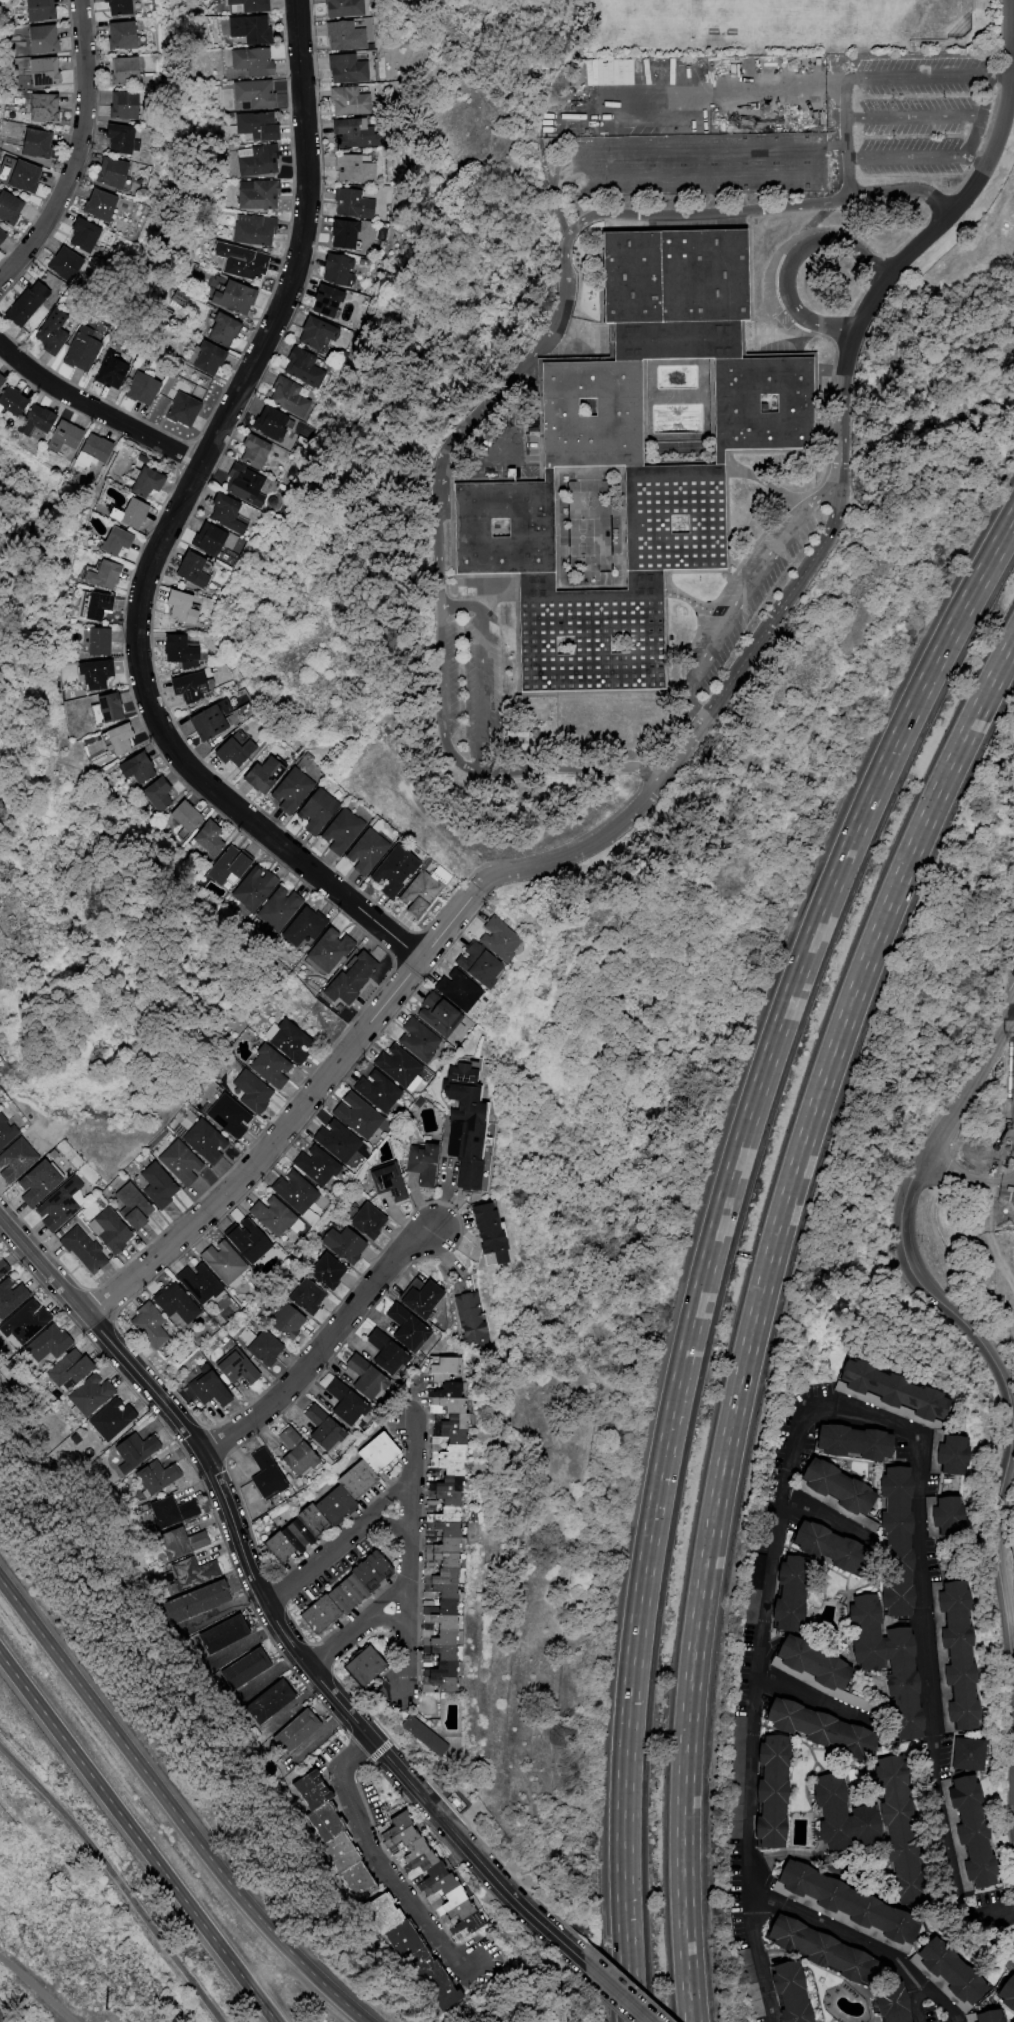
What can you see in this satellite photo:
building: (249, 6)
building: (128, 7)
building: (343, 8)
building: (45, 9)
road: (1013, 15)
building: (251, 29)
building: (345, 35)
building: (132, 36)
building: (49, 39)
building: (254, 62)
building: (347, 68)
building: (624, 70)
building: (49, 72)
building: (136, 72)
road: (760, 86)
building: (248, 96)
building: (350, 99)
building: (135, 106)
road: (842, 106)
building: (51, 108)
road: (911, 111)
road: (978, 114)
building: (256, 128)
building: (352, 133)
building: (131, 139)
building: (44, 144)
road: (79, 153)
building: (258, 160)
building: (352, 168)
building: (124, 175)
road: (847, 176)
building: (32, 178)
road: (871, 193)
building: (259, 195)
building: (355, 203)
building: (118, 207)
building: (14, 208)
building: (255, 229)
building: (356, 235)
road: (813, 235)
building: (5, 237)
building: (94, 237)
road: (563, 243)
building: (243, 261)
building: (73, 269)
building: (335, 269)
building: (748, 279)
building: (237, 297)
building: (325, 300)
building: (35, 306)
road: (823, 324)
building: (226, 330)
road: (778, 332)
building: (59, 333)
building: (315, 333)
road: (785, 335)
building: (88, 350)
building: (212, 359)
building: (300, 363)
building: (118, 372)
building: (3, 382)
building: (147, 389)
building: (293, 398)
building: (15, 400)
road: (98, 410)
building: (187, 410)
building: (43, 418)
building: (271, 424)
building: (70, 434)
building: (100, 448)
building: (632, 454)
building: (256, 456)
building: (144, 482)
building: (244, 485)
road: (439, 499)
road: (842, 501)
building: (128, 513)
building: (228, 513)
road: (171, 529)
building: (113, 540)
building: (211, 540)
building: (192, 571)
building: (101, 575)
road: (743, 592)
building: (92, 606)
building: (180, 607)
building: (96, 642)
building: (177, 650)
road: (479, 663)
building: (93, 674)
building: (186, 687)
building: (107, 708)
building: (207, 719)
building: (117, 739)
building: (232, 750)
building: (135, 768)
building: (259, 776)
building: (288, 791)
building: (158, 795)
building: (314, 811)
building: (184, 818)
building: (338, 832)
building: (208, 839)
building: (362, 852)
building: (224, 871)
building: (389, 871)
building: (251, 890)
building: (417, 892)
building: (278, 907)
building: (301, 928)
building: (494, 940)
building: (328, 949)
building: (475, 967)
building: (348, 980)
building: (452, 992)
building: (435, 1018)
building: (285, 1040)
building: (415, 1040)
building: (267, 1066)
building: (397, 1066)
building: (374, 1091)
building: (249, 1092)
road: (297, 1115)
building: (353, 1115)
building: (225, 1117)
building: (0, 1122)
building: (457, 1126)
building: (4, 1134)
building: (202, 1141)
building: (487, 1141)
building: (334, 1142)
building: (11, 1159)
building: (176, 1163)
building: (418, 1164)
building: (314, 1167)
road: (968, 1178)
building: (385, 1181)
building: (31, 1184)
building: (153, 1186)
building: (291, 1192)
building: (56, 1205)
building: (127, 1207)
park: (975, 1207)
road: (905, 1215)
building: (269, 1216)
building: (364, 1220)
building: (103, 1231)
building: (481, 1235)
road: (712, 1242)
building: (244, 1243)
building: (341, 1245)
building: (77, 1250)
building: (218, 1263)
building: (1, 1269)
building: (323, 1272)
building: (193, 1285)
building: (8, 1296)
building: (303, 1297)
building: (415, 1300)
building: (170, 1305)
road: (756, 1309)
building: (462, 1319)
building: (20, 1323)
building: (282, 1323)
building: (142, 1326)
building: (400, 1327)
building: (39, 1347)
road: (326, 1348)
building: (259, 1349)
building: (380, 1352)
building: (230, 1369)
building: (433, 1370)
building: (60, 1372)
building: (357, 1378)
building: (441, 1380)
building: (894, 1390)
building: (200, 1391)
building: (439, 1393)
building: (82, 1397)
building: (337, 1404)
building: (438, 1408)
building: (102, 1421)
building: (316, 1431)
building: (441, 1433)
building: (854, 1442)
building: (125, 1454)
building: (952, 1455)
building: (288, 1456)
building: (370, 1456)
building: (440, 1456)
building: (437, 1470)
building: (257, 1477)
building: (146, 1479)
building: (348, 1482)
building: (440, 1486)
building: (837, 1486)
building: (433, 1499)
building: (326, 1508)
building: (161, 1515)
building: (947, 1515)
road: (832, 1518)
building: (433, 1519)
building: (302, 1522)
road: (387, 1526)
park: (1009, 1530)
building: (436, 1532)
building: (290, 1535)
building: (897, 1539)
road: (338, 1544)
building: (171, 1545)
building: (272, 1547)
building: (829, 1547)
building: (435, 1549)
road: (998, 1550)
road: (406, 1555)
building: (435, 1563)
building: (363, 1572)
building: (183, 1576)
building: (433, 1581)
road: (771, 1585)
building: (791, 1593)
building: (433, 1595)
building: (338, 1597)
building: (191, 1602)
road: (267, 1604)
road: (224, 1609)
building: (432, 1609)
building: (312, 1617)
road: (390, 1620)
road: (361, 1627)
building: (429, 1630)
building: (867, 1632)
building: (211, 1634)
road: (245, 1642)
building: (430, 1650)
building: (958, 1655)
building: (813, 1662)
building: (355, 1664)
building: (238, 1666)
building: (431, 1667)
road: (267, 1674)
building: (429, 1682)
building: (904, 1683)
building: (260, 1702)
road: (826, 1704)
building: (819, 1727)
building: (288, 1730)
building: (416, 1734)
building: (968, 1754)
road: (934, 1771)
building: (772, 1791)
building: (303, 1792)
road: (173, 1809)
building: (833, 1812)
building: (393, 1822)
building: (319, 1823)
building: (866, 1825)
building: (900, 1830)
building: (973, 1831)
building: (397, 1836)
road: (137, 1838)
building: (406, 1849)
building: (334, 1853)
building: (414, 1861)
road: (381, 1865)
road: (122, 1875)
building: (430, 1879)
building: (351, 1883)
building: (443, 1899)
building: (850, 1902)
building: (459, 1915)
building: (383, 1924)
road: (1005, 1938)
road: (863, 1944)
building: (812, 1947)
building: (406, 1956)
building: (413, 1963)
building: (951, 1971)
building: (747, 1983)
building: (429, 1986)
road: (38, 1989)
road: (615, 1992)
building: (787, 1993)
building: (1007, 1994)
road: (915, 1995)
building: (888, 2002)
power tower: (104, 2009)
building: (985, 2016)

